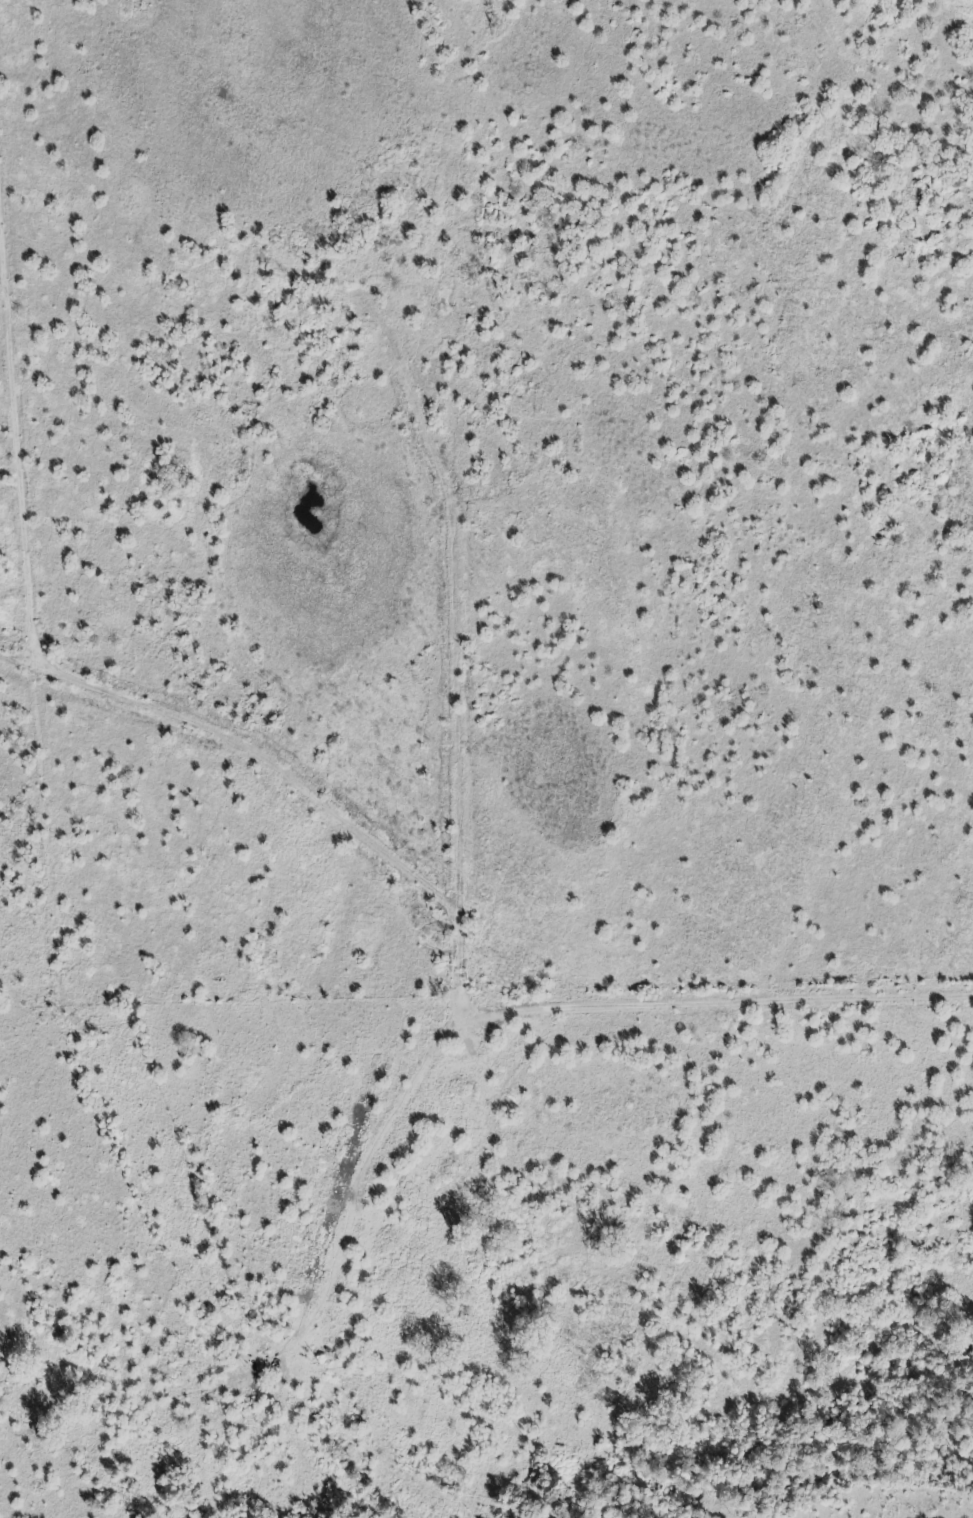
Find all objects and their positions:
road: (950, 227)
road: (43, 692)
road: (451, 1040)
road: (629, 1418)

